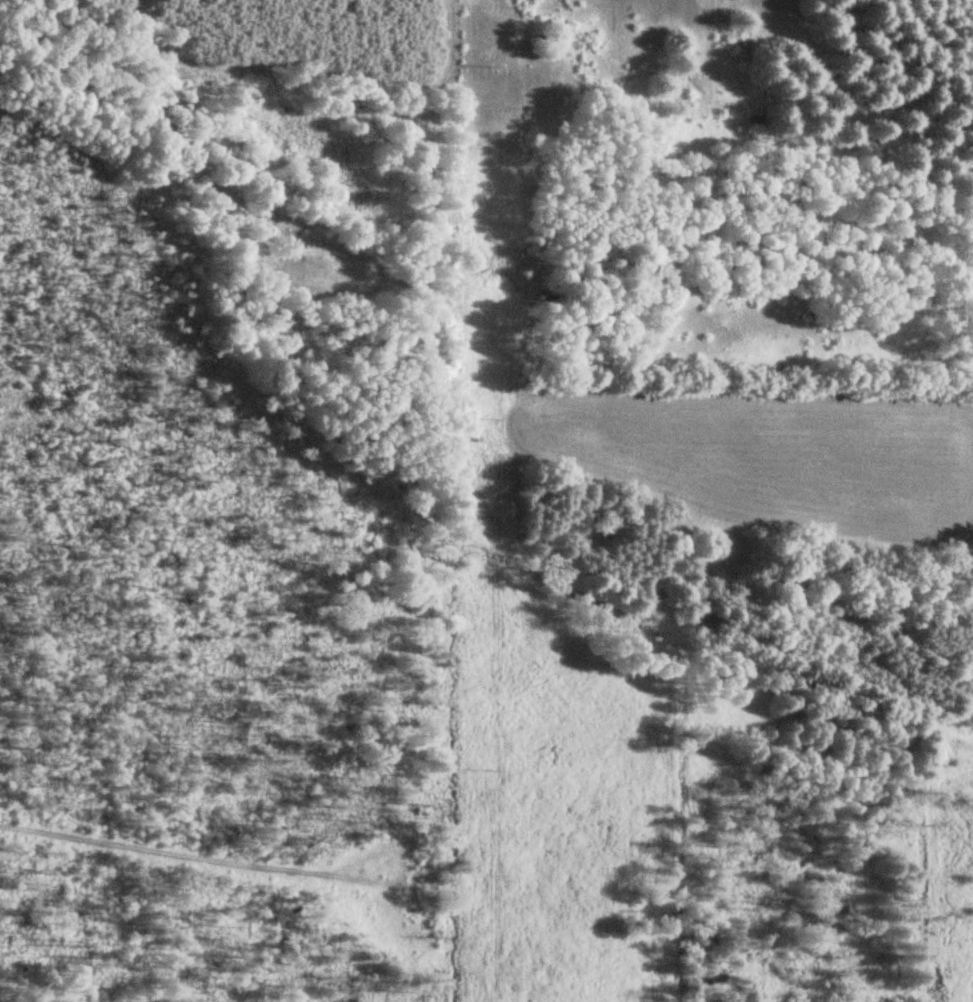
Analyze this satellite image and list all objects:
road: (893, 881)

